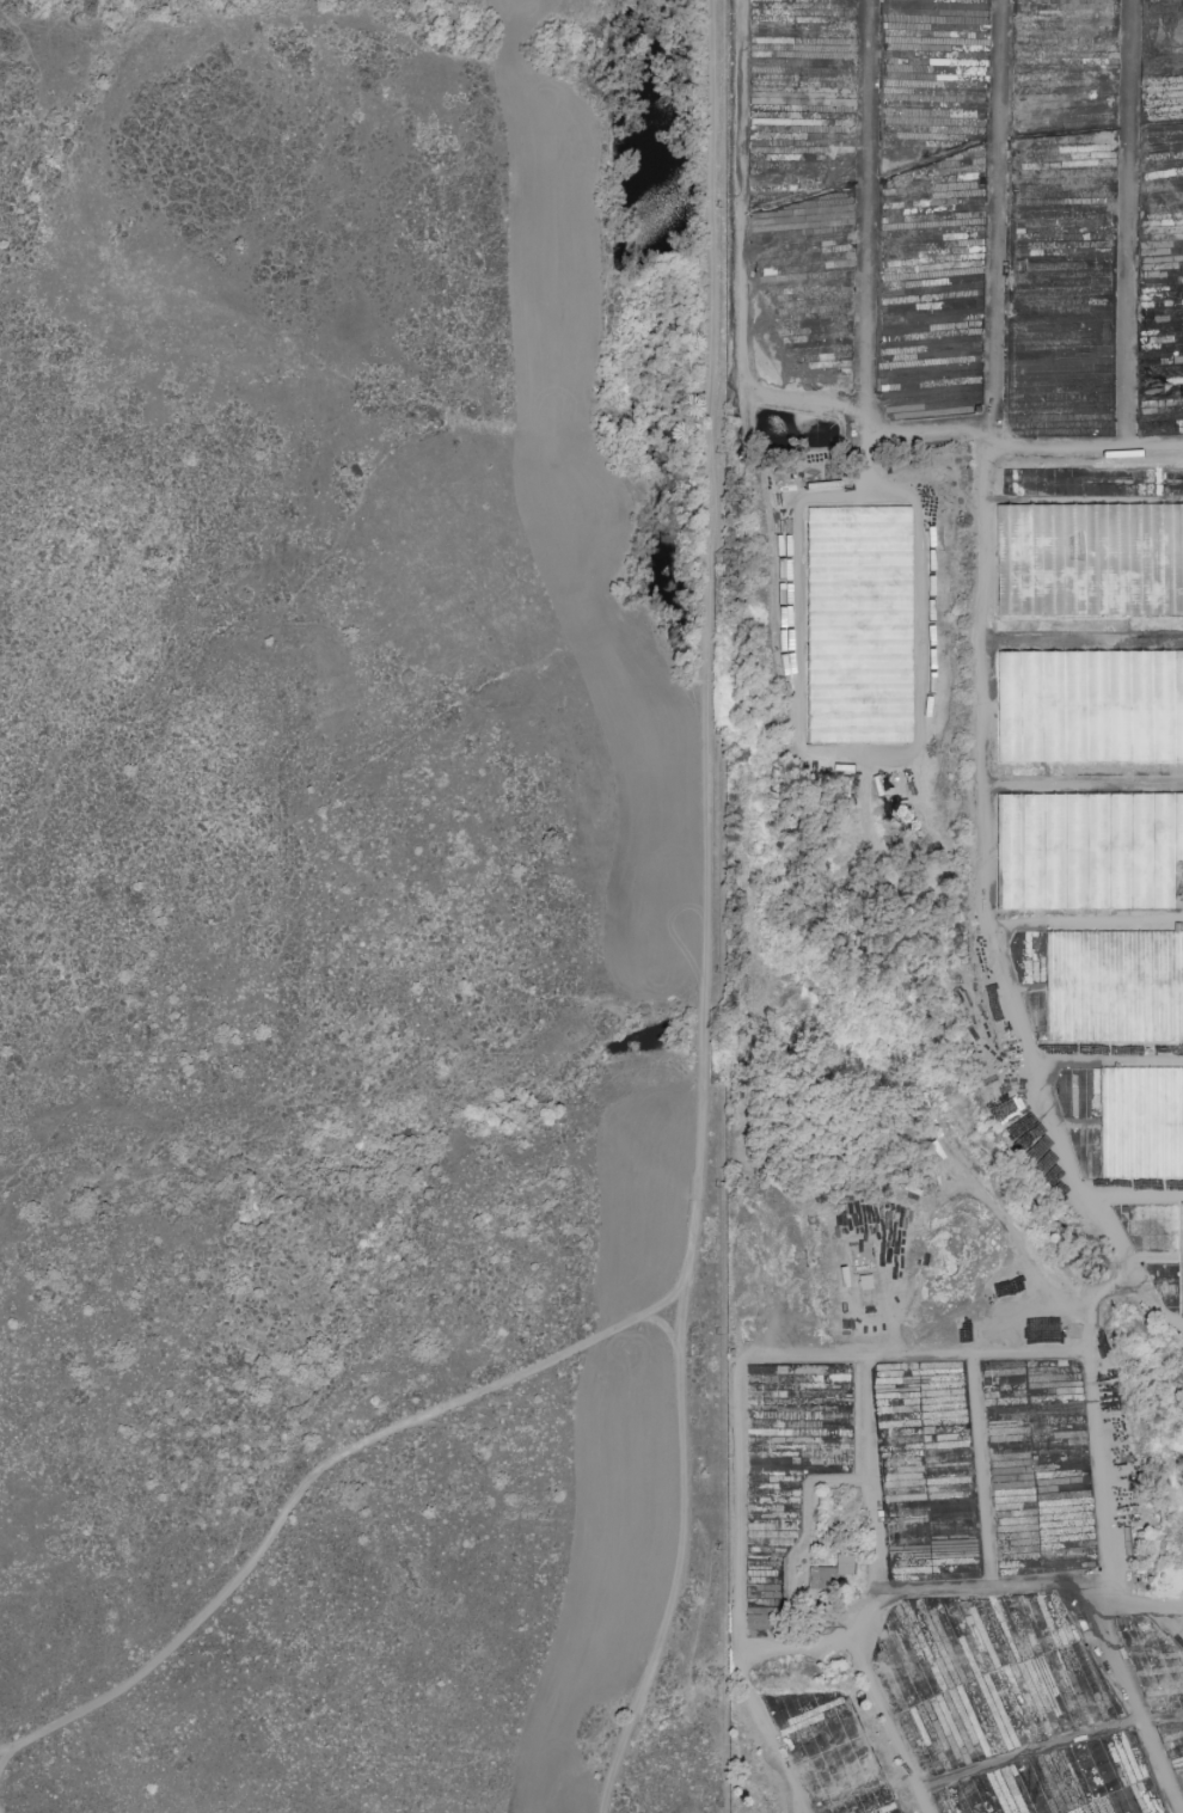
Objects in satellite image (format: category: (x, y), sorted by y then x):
building: (1087, 561)
building: (862, 625)
building: (1087, 706)
building: (1086, 851)
road: (704, 912)
building: (1114, 987)
building: (1141, 1123)
building: (1181, 1256)
building: (842, 1564)
road: (1015, 1611)

